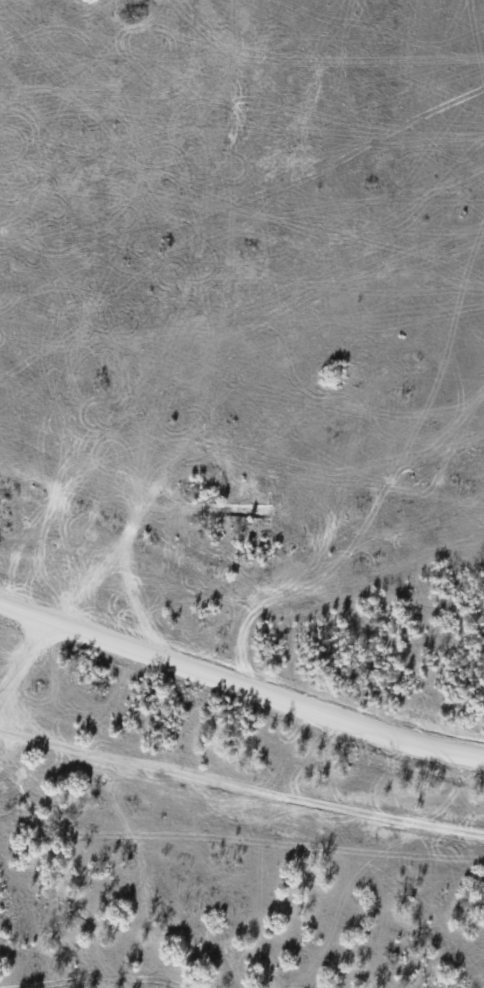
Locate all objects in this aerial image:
road: (242, 681)

